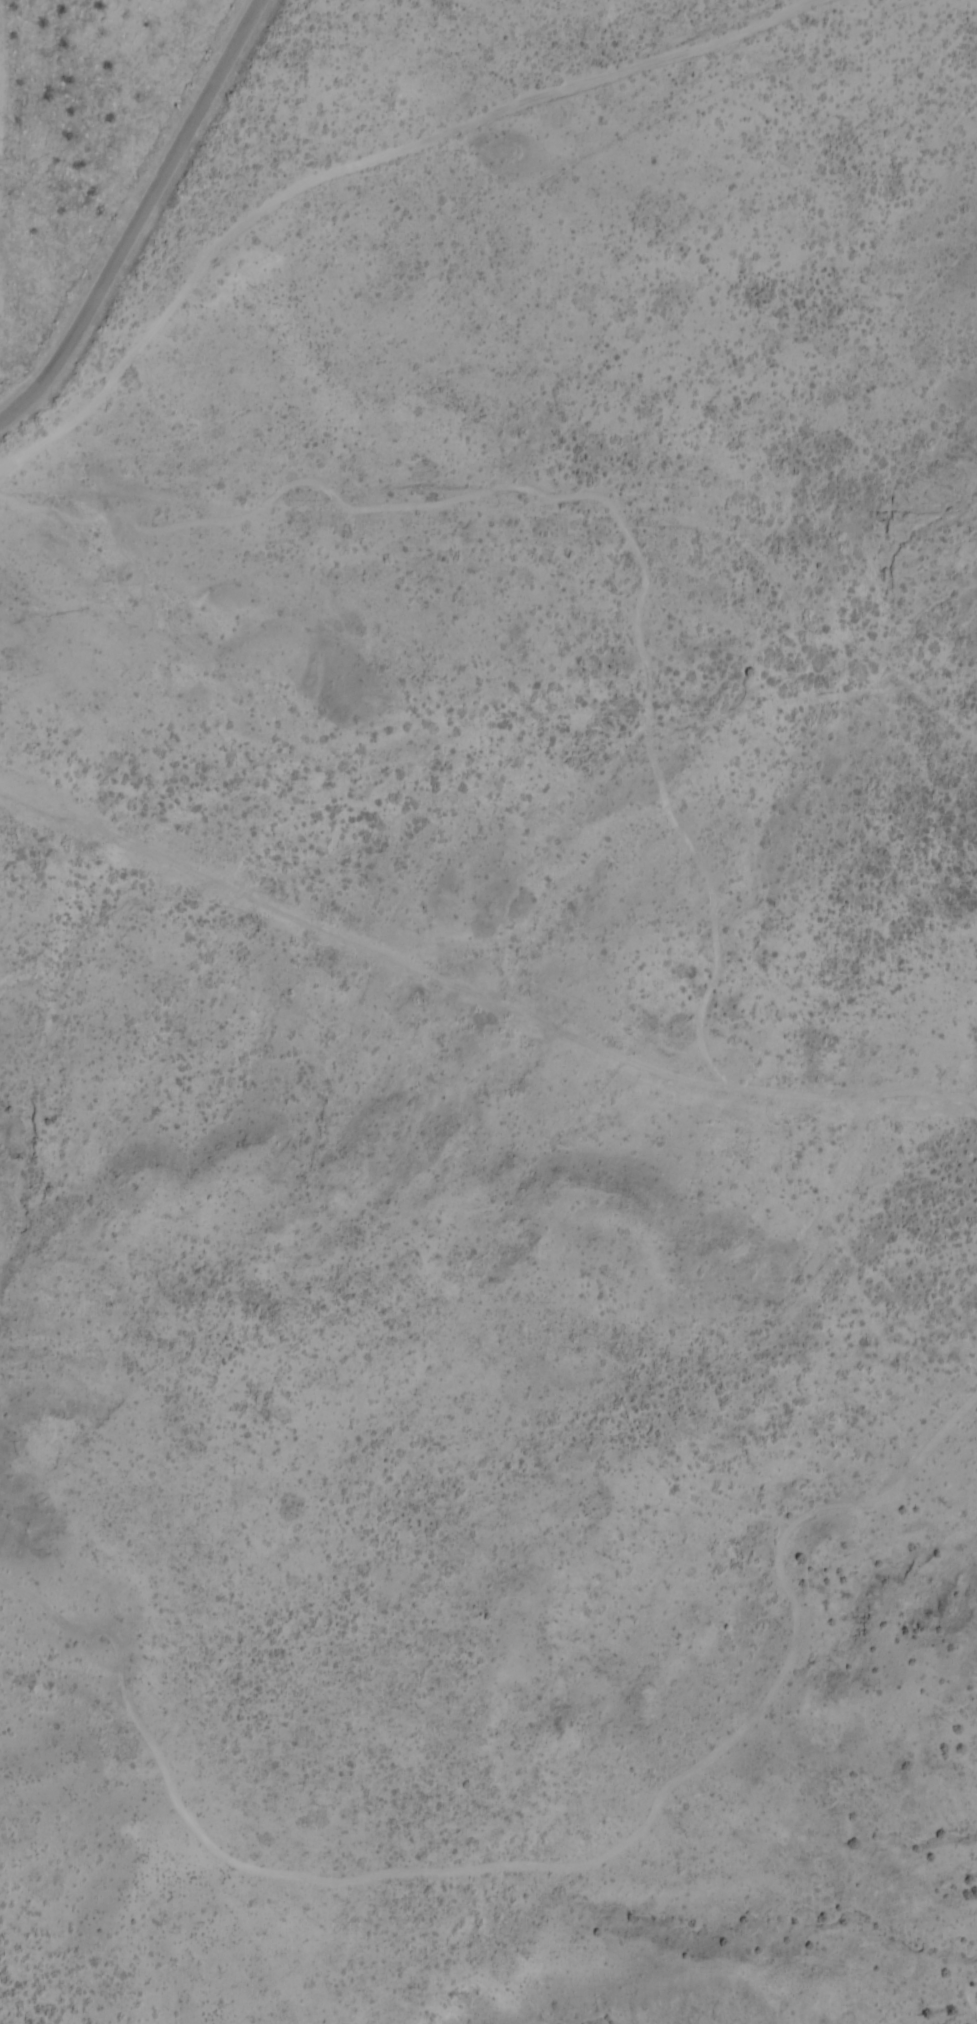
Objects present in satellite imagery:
road: (366, 167)
road: (169, 175)

